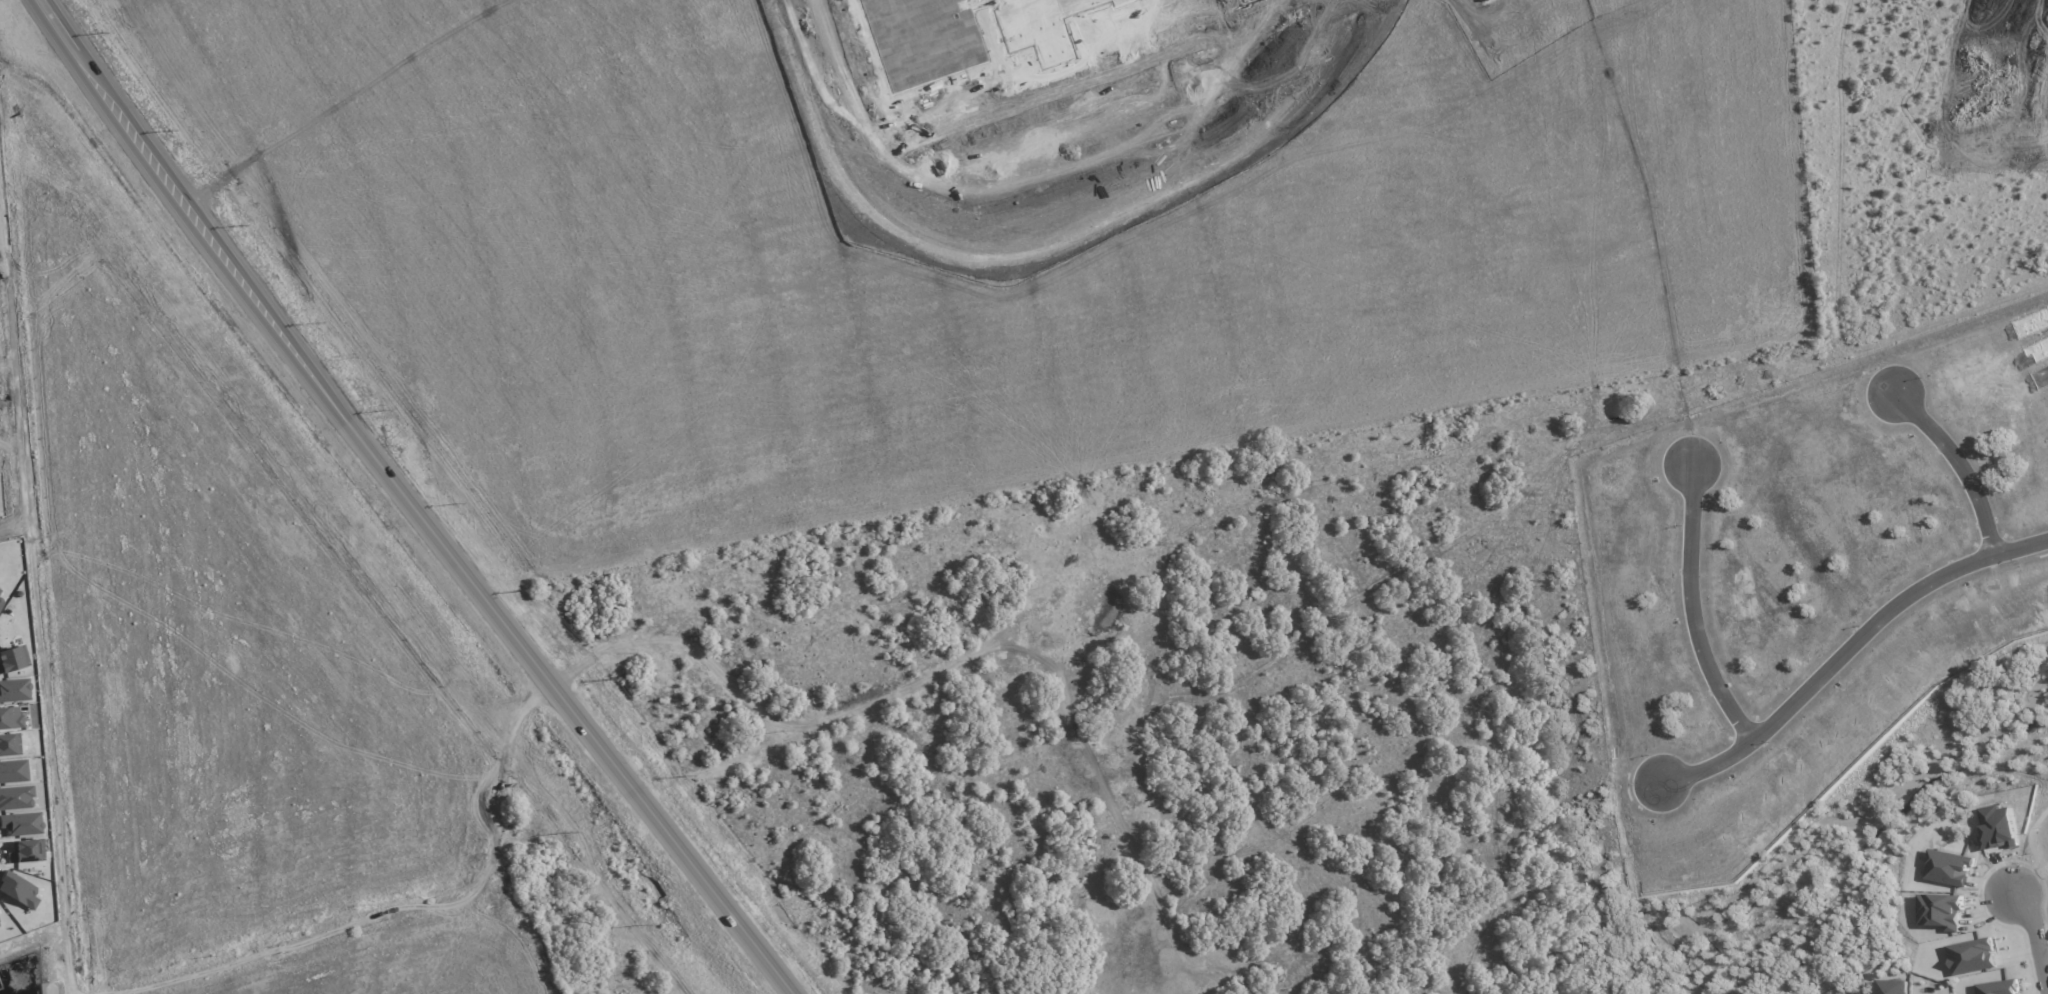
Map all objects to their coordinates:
building: (979, 33)
road: (1829, 49)
road: (1102, 70)
road: (1013, 174)
road: (1711, 287)
road: (1961, 451)
road: (412, 500)
building: (0, 591)
road: (1697, 596)
building: (1, 602)
road: (1850, 638)
building: (13, 659)
building: (15, 690)
building: (10, 717)
building: (10, 745)
building: (13, 771)
building: (16, 798)
building: (21, 823)
building: (26, 851)
building: (18, 890)
road: (2035, 942)
building: (1890, 987)

